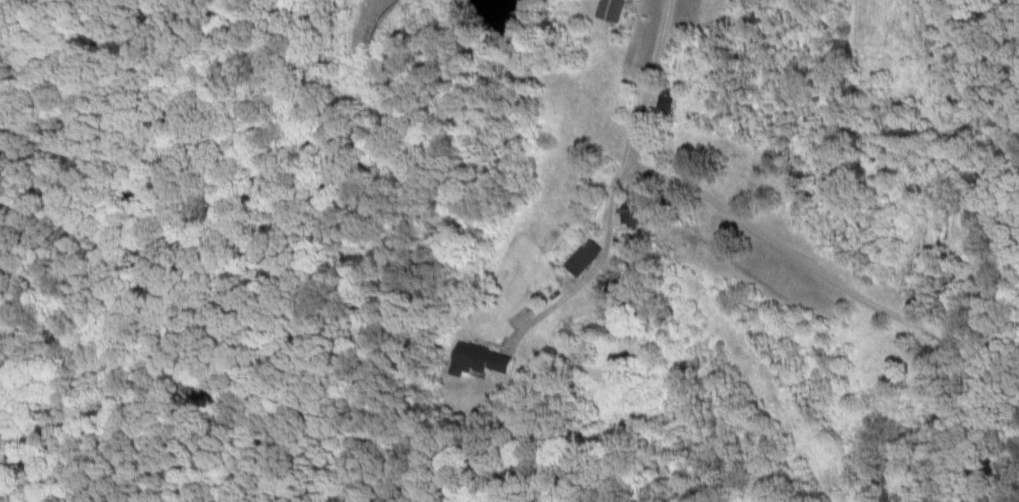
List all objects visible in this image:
building: (607, 9)
building: (581, 256)
building: (479, 359)

